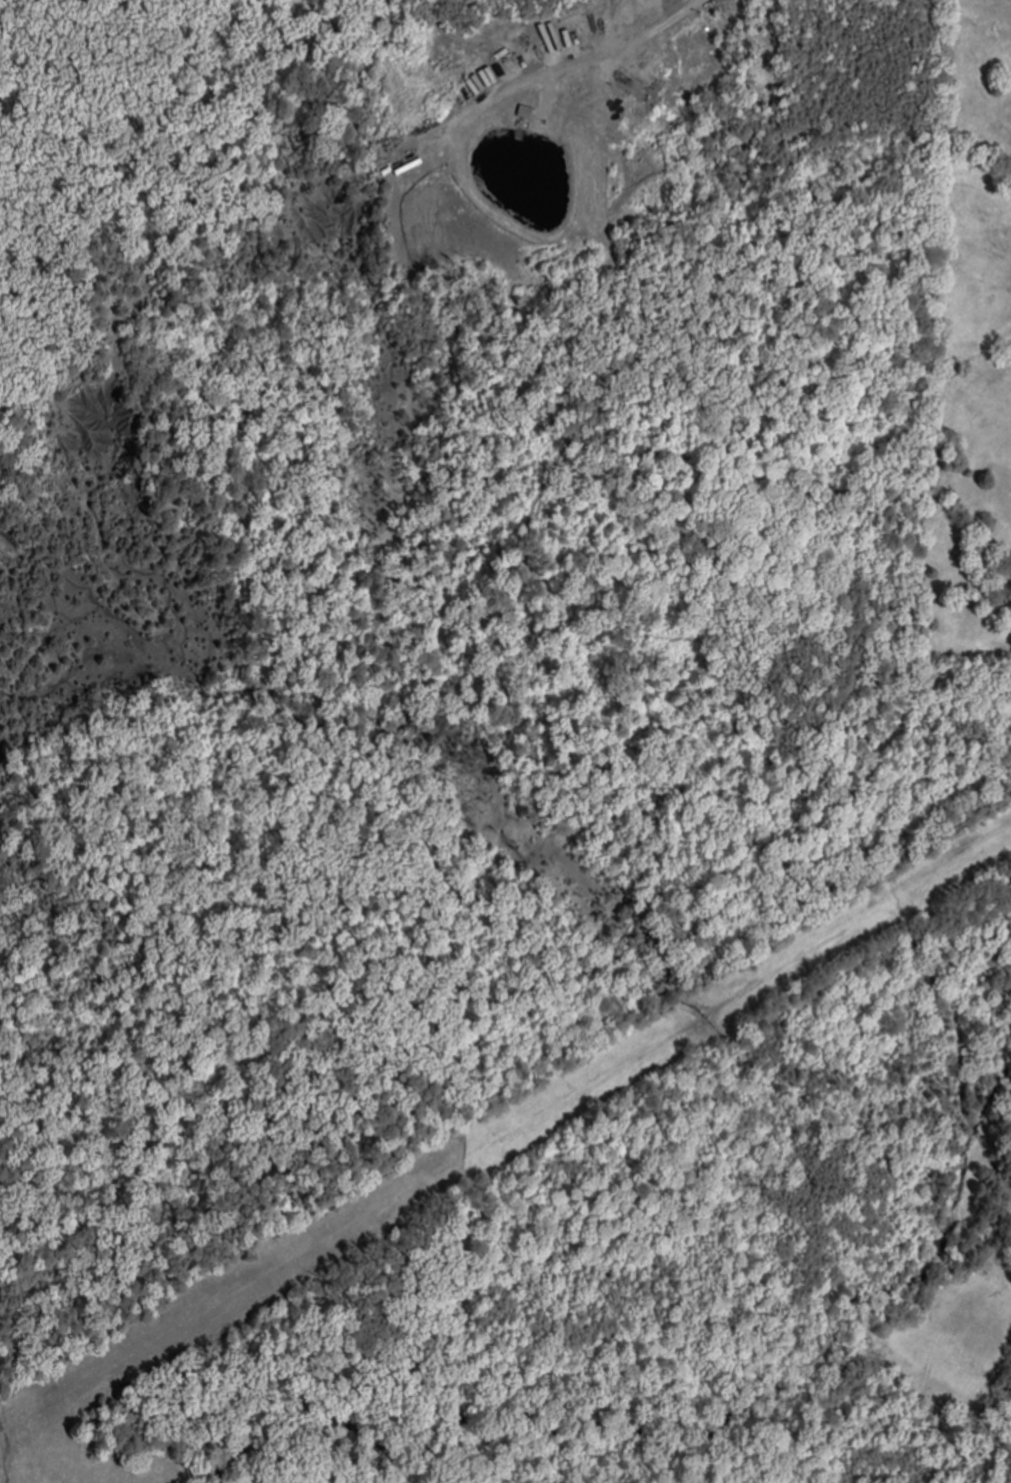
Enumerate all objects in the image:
road: (629, 48)

